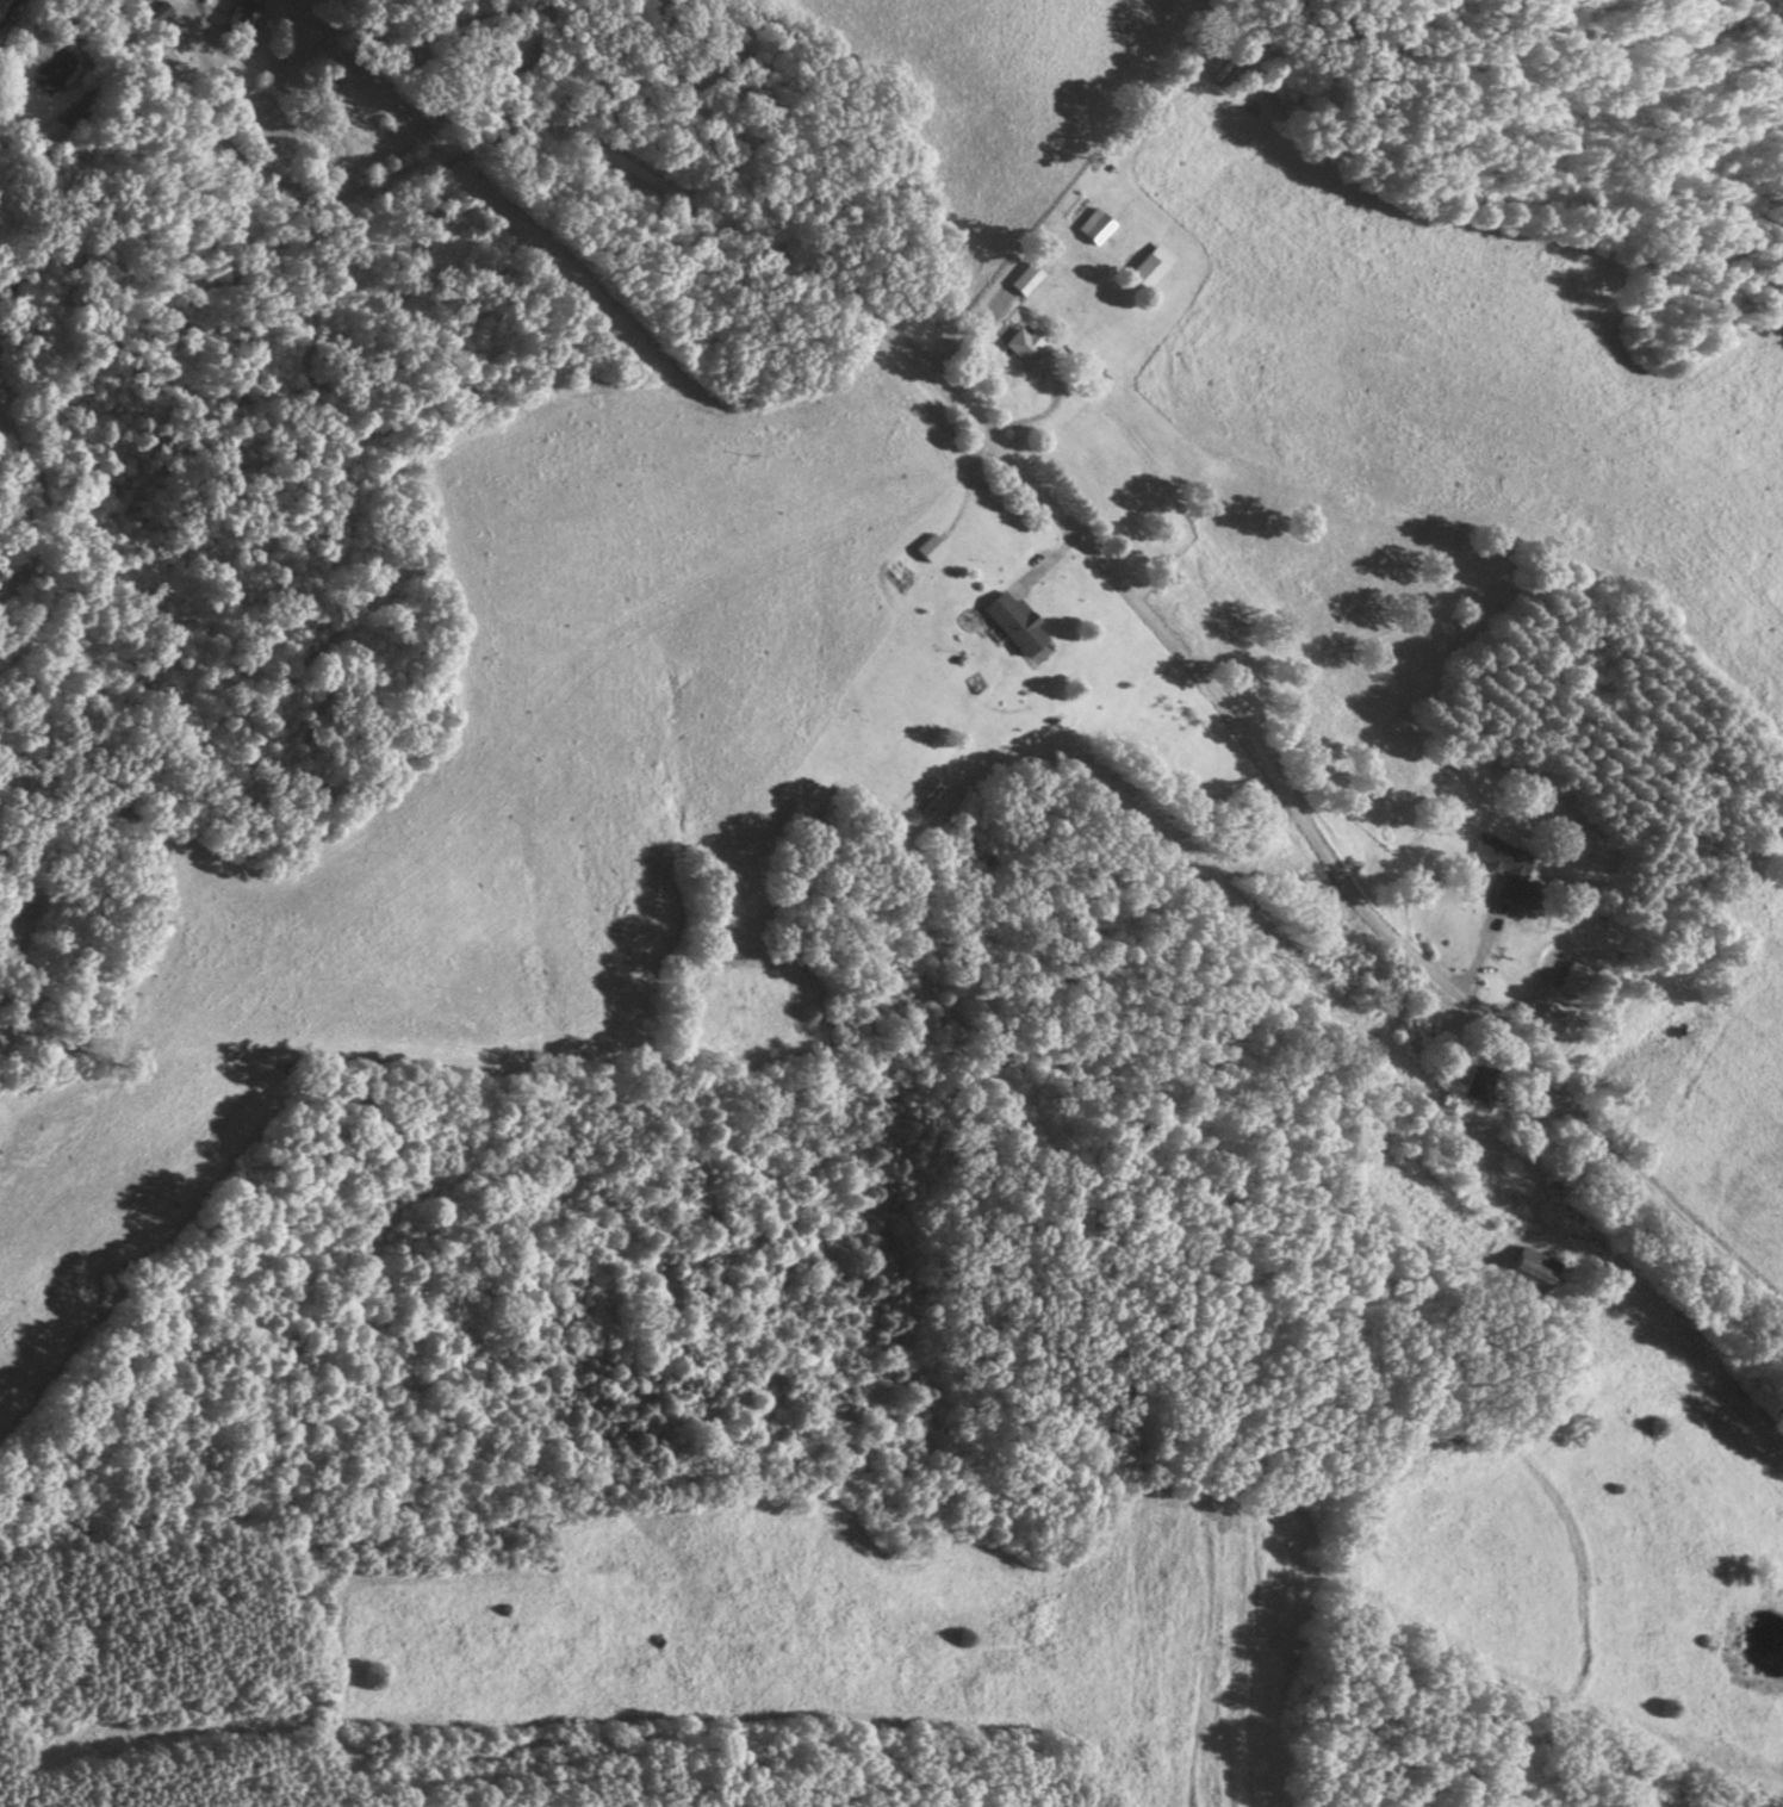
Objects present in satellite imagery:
building: (160, 12)
building: (242, 15)
building: (51, 70)
building: (348, 110)
building: (1098, 225)
building: (1154, 266)
building: (1029, 278)
building: (1032, 352)
road: (1025, 476)
building: (930, 547)
building: (1015, 621)
building: (1508, 864)
building: (1549, 1023)
building: (1479, 1085)
building: (1535, 1269)

